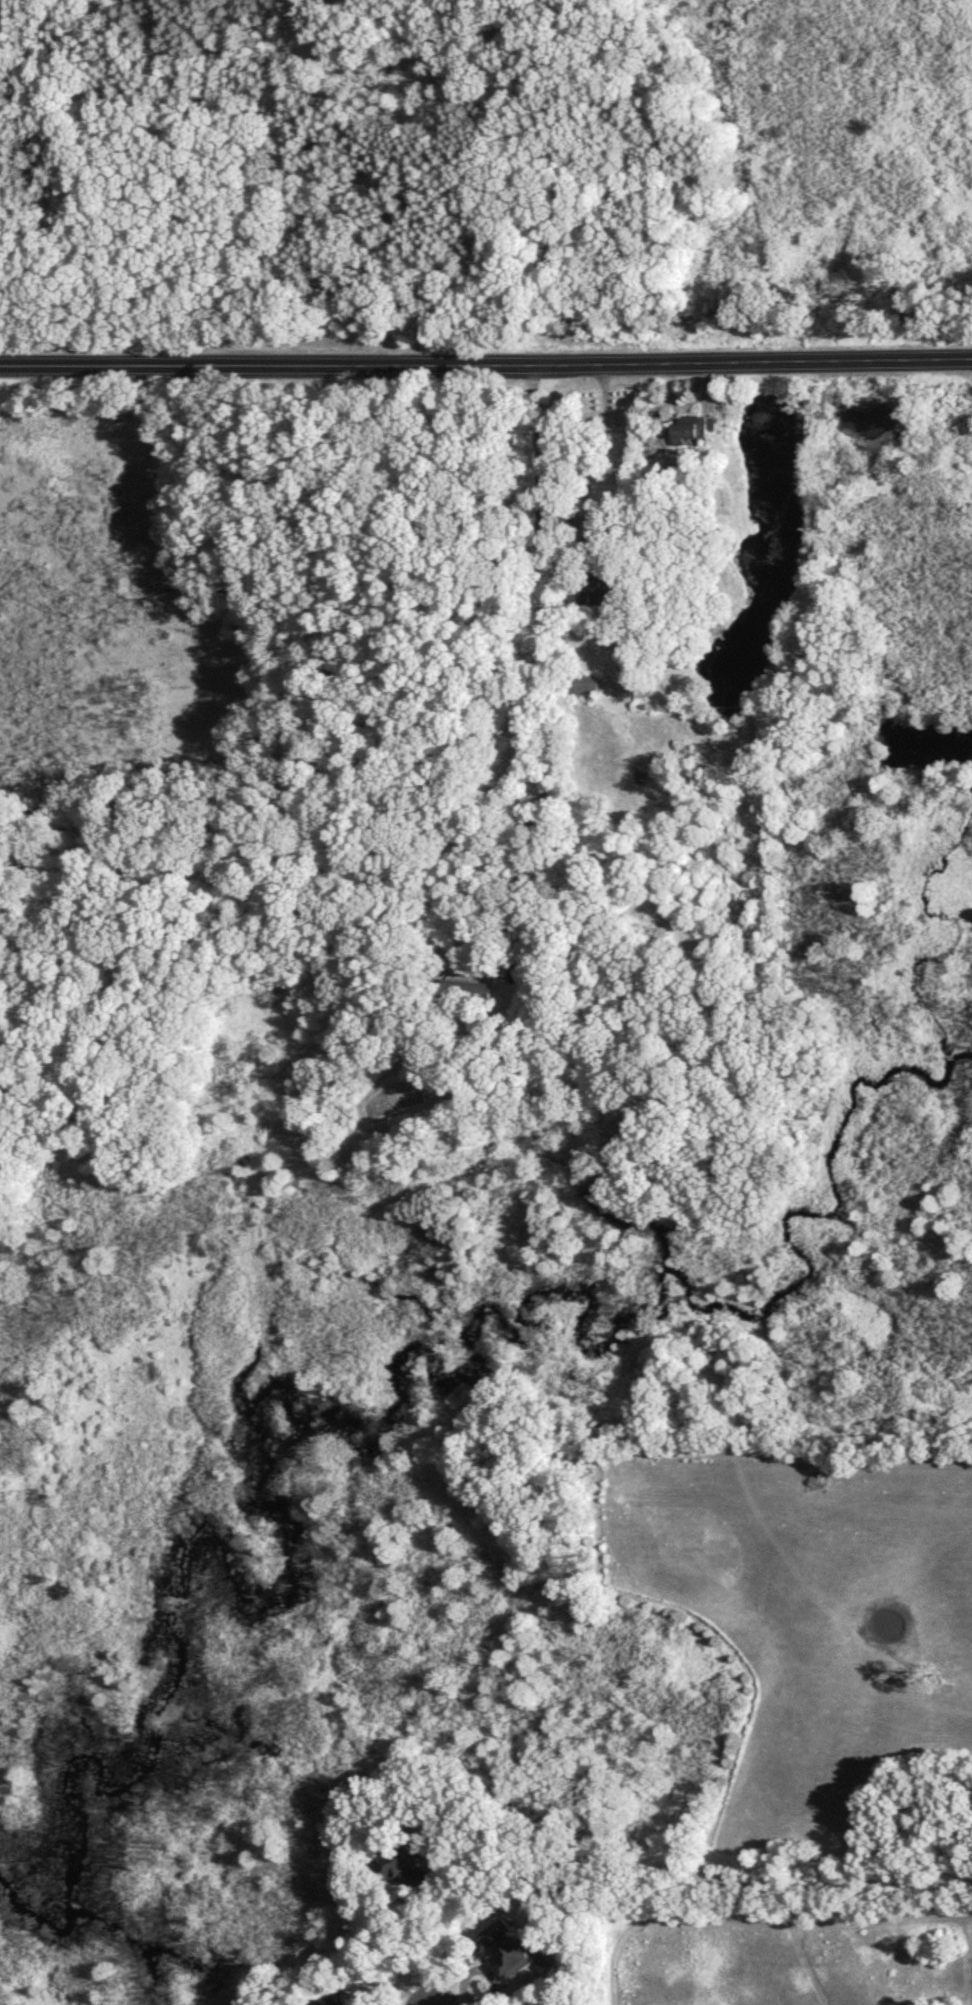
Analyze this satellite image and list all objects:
road: (486, 357)
building: (693, 426)
road: (599, 448)
road: (549, 666)
road: (425, 1932)
building: (509, 1948)
road: (489, 1997)
road: (458, 1999)
building: (334, 2000)

